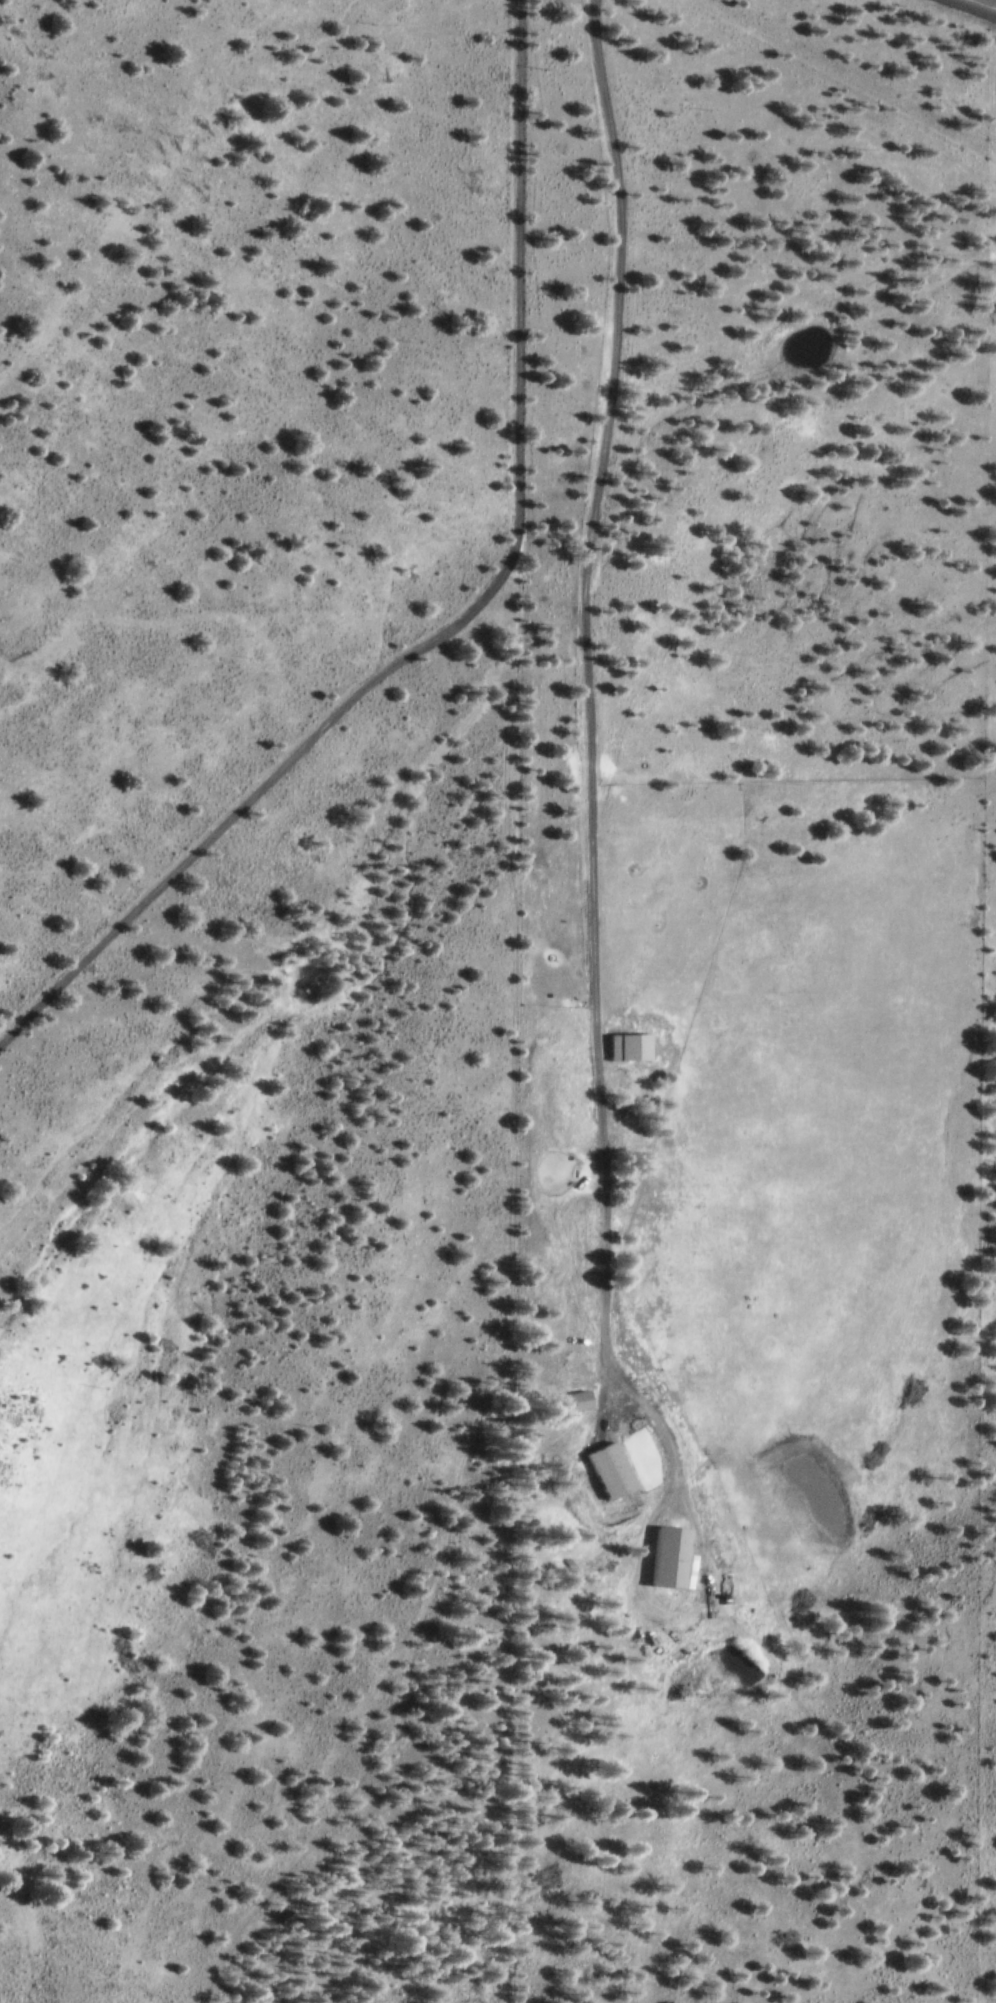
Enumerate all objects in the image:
road: (985, 3)
road: (463, 618)
road: (588, 754)
building: (633, 1048)
building: (631, 1450)
building: (672, 1557)

